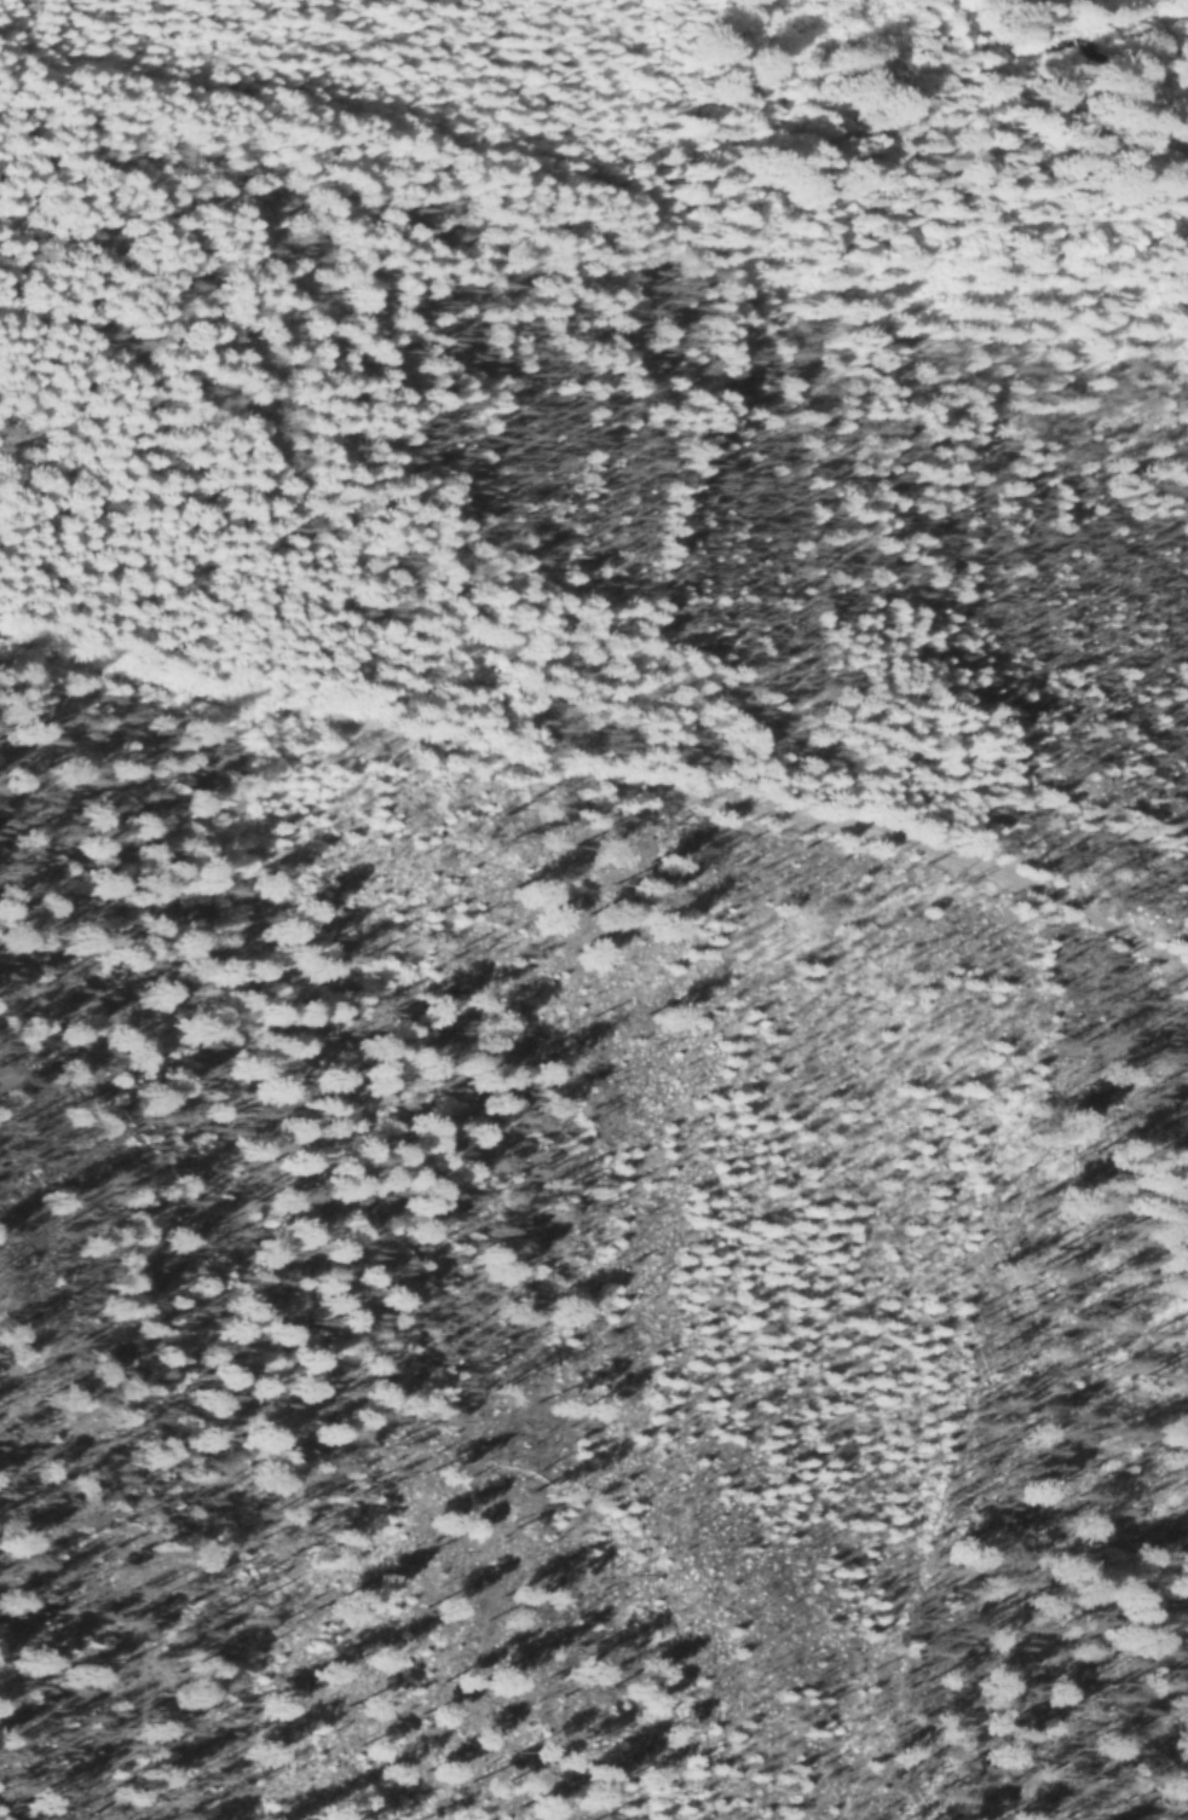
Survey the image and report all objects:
road: (605, 767)

